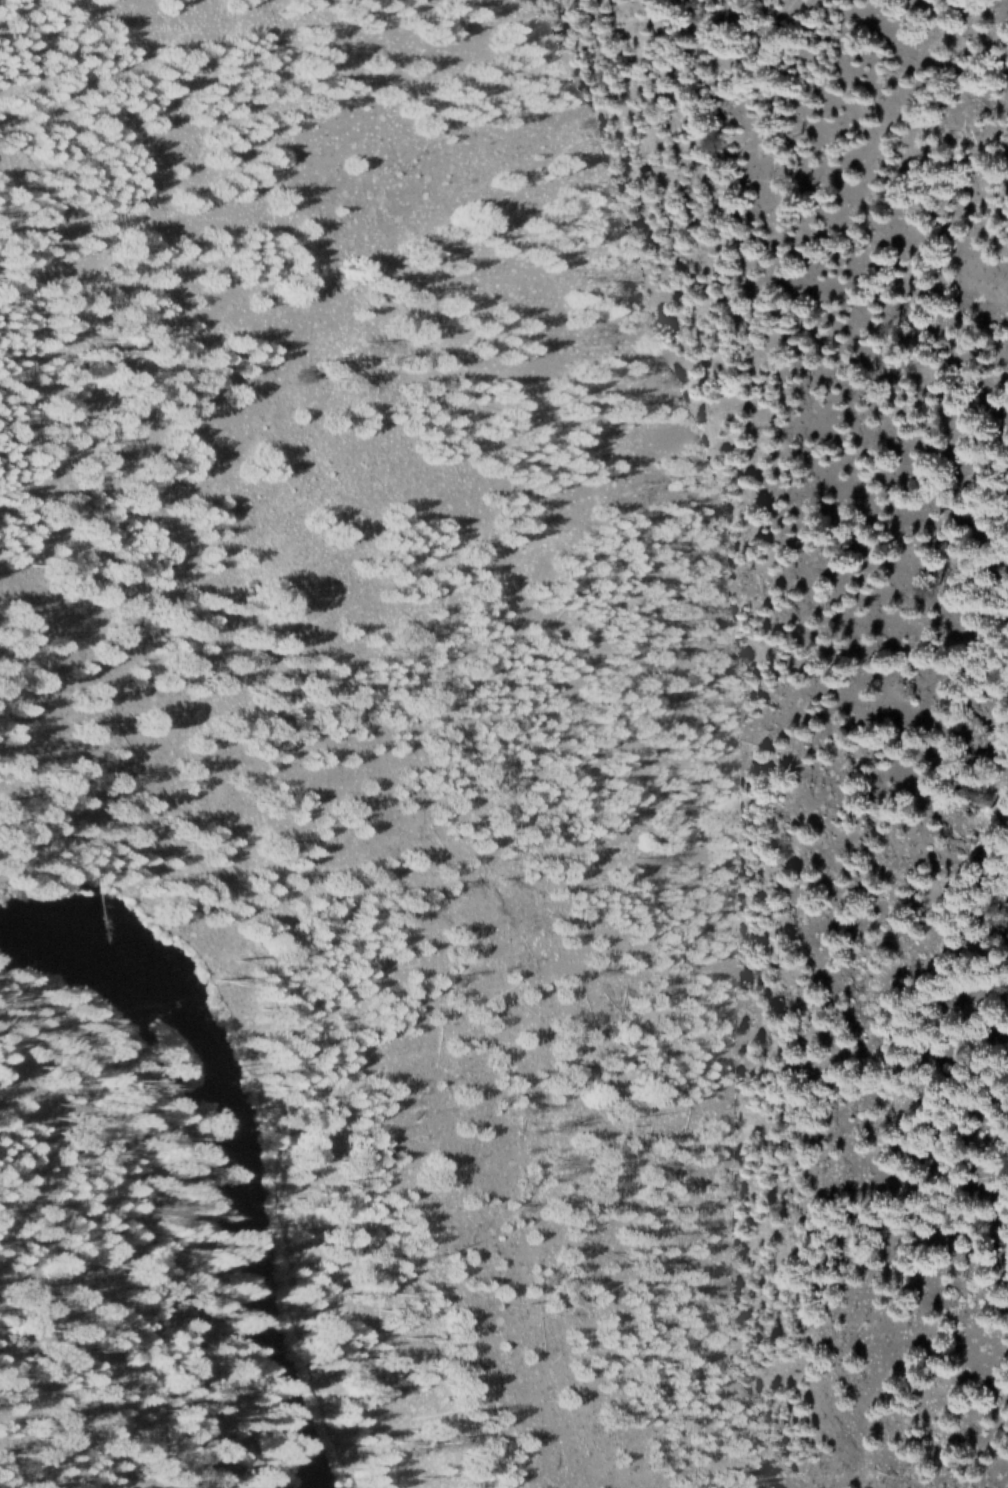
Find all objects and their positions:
road: (260, 1104)
river: (232, 1151)

